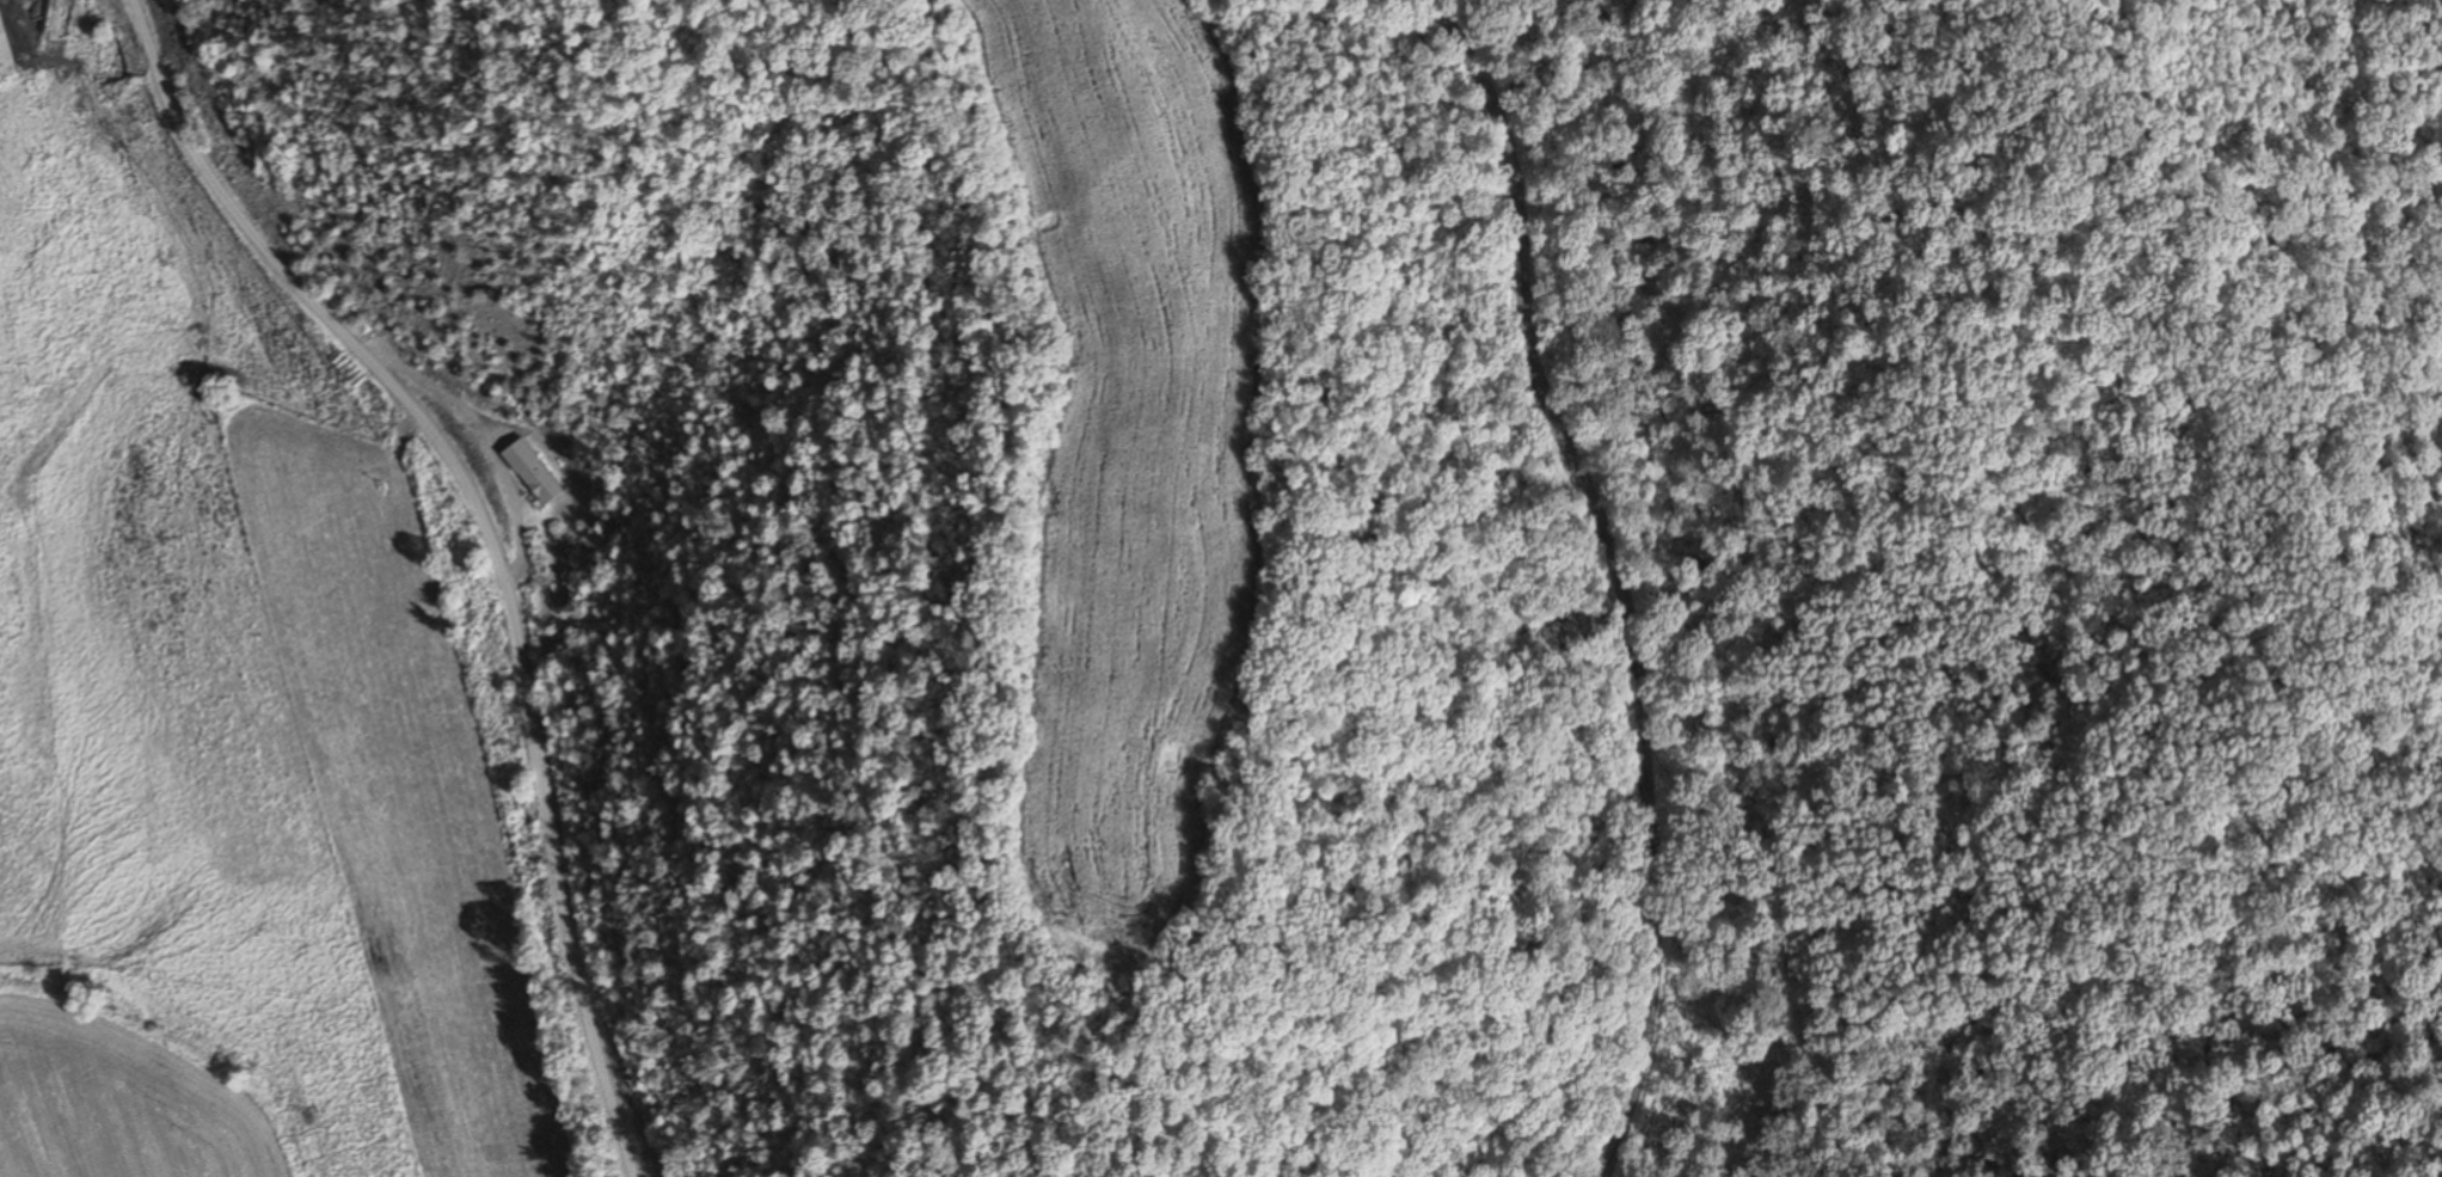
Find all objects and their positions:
building: (4, 59)
building: (529, 472)
road: (493, 538)
road: (1634, 574)

